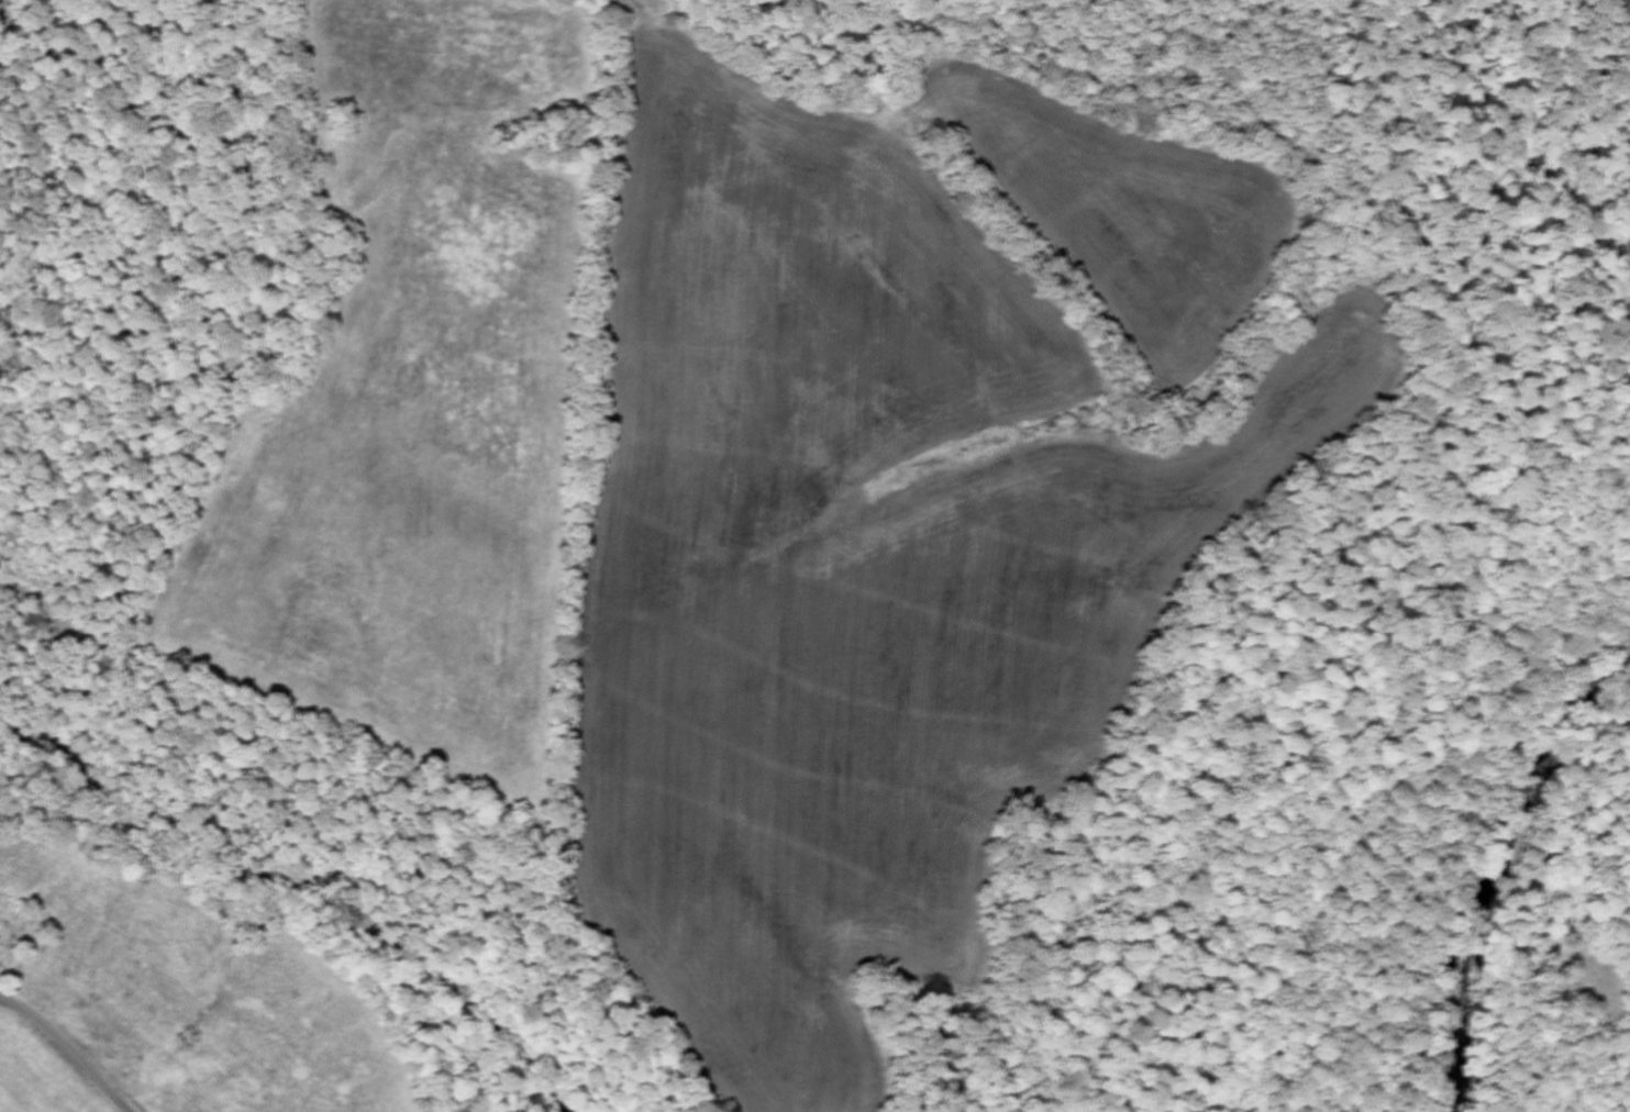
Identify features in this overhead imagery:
road: (1, 11)
road: (68, 1048)

